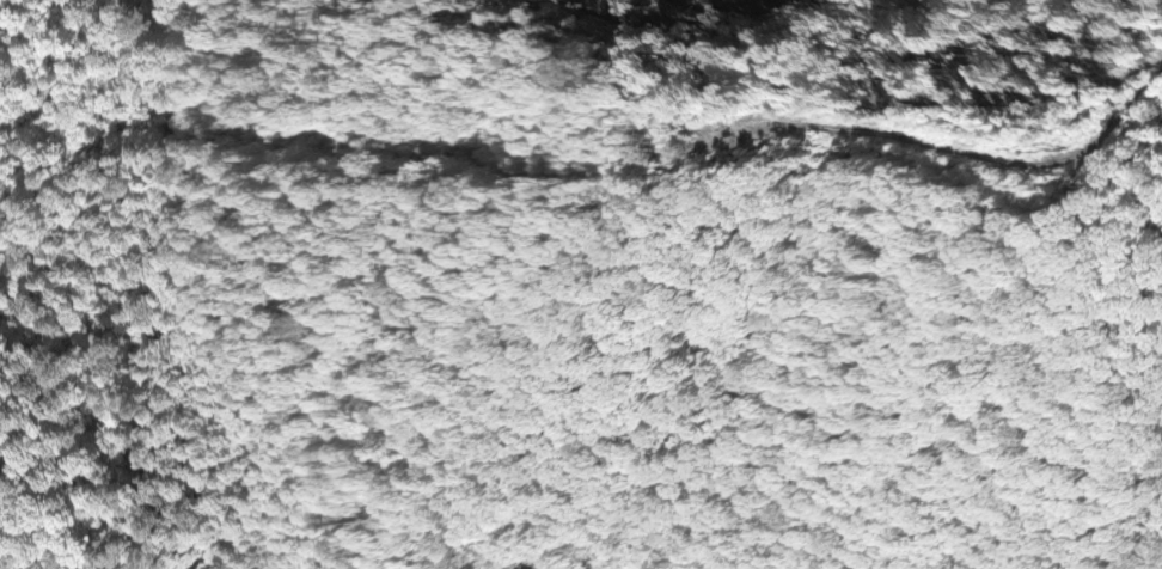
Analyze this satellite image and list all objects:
road: (949, 151)

